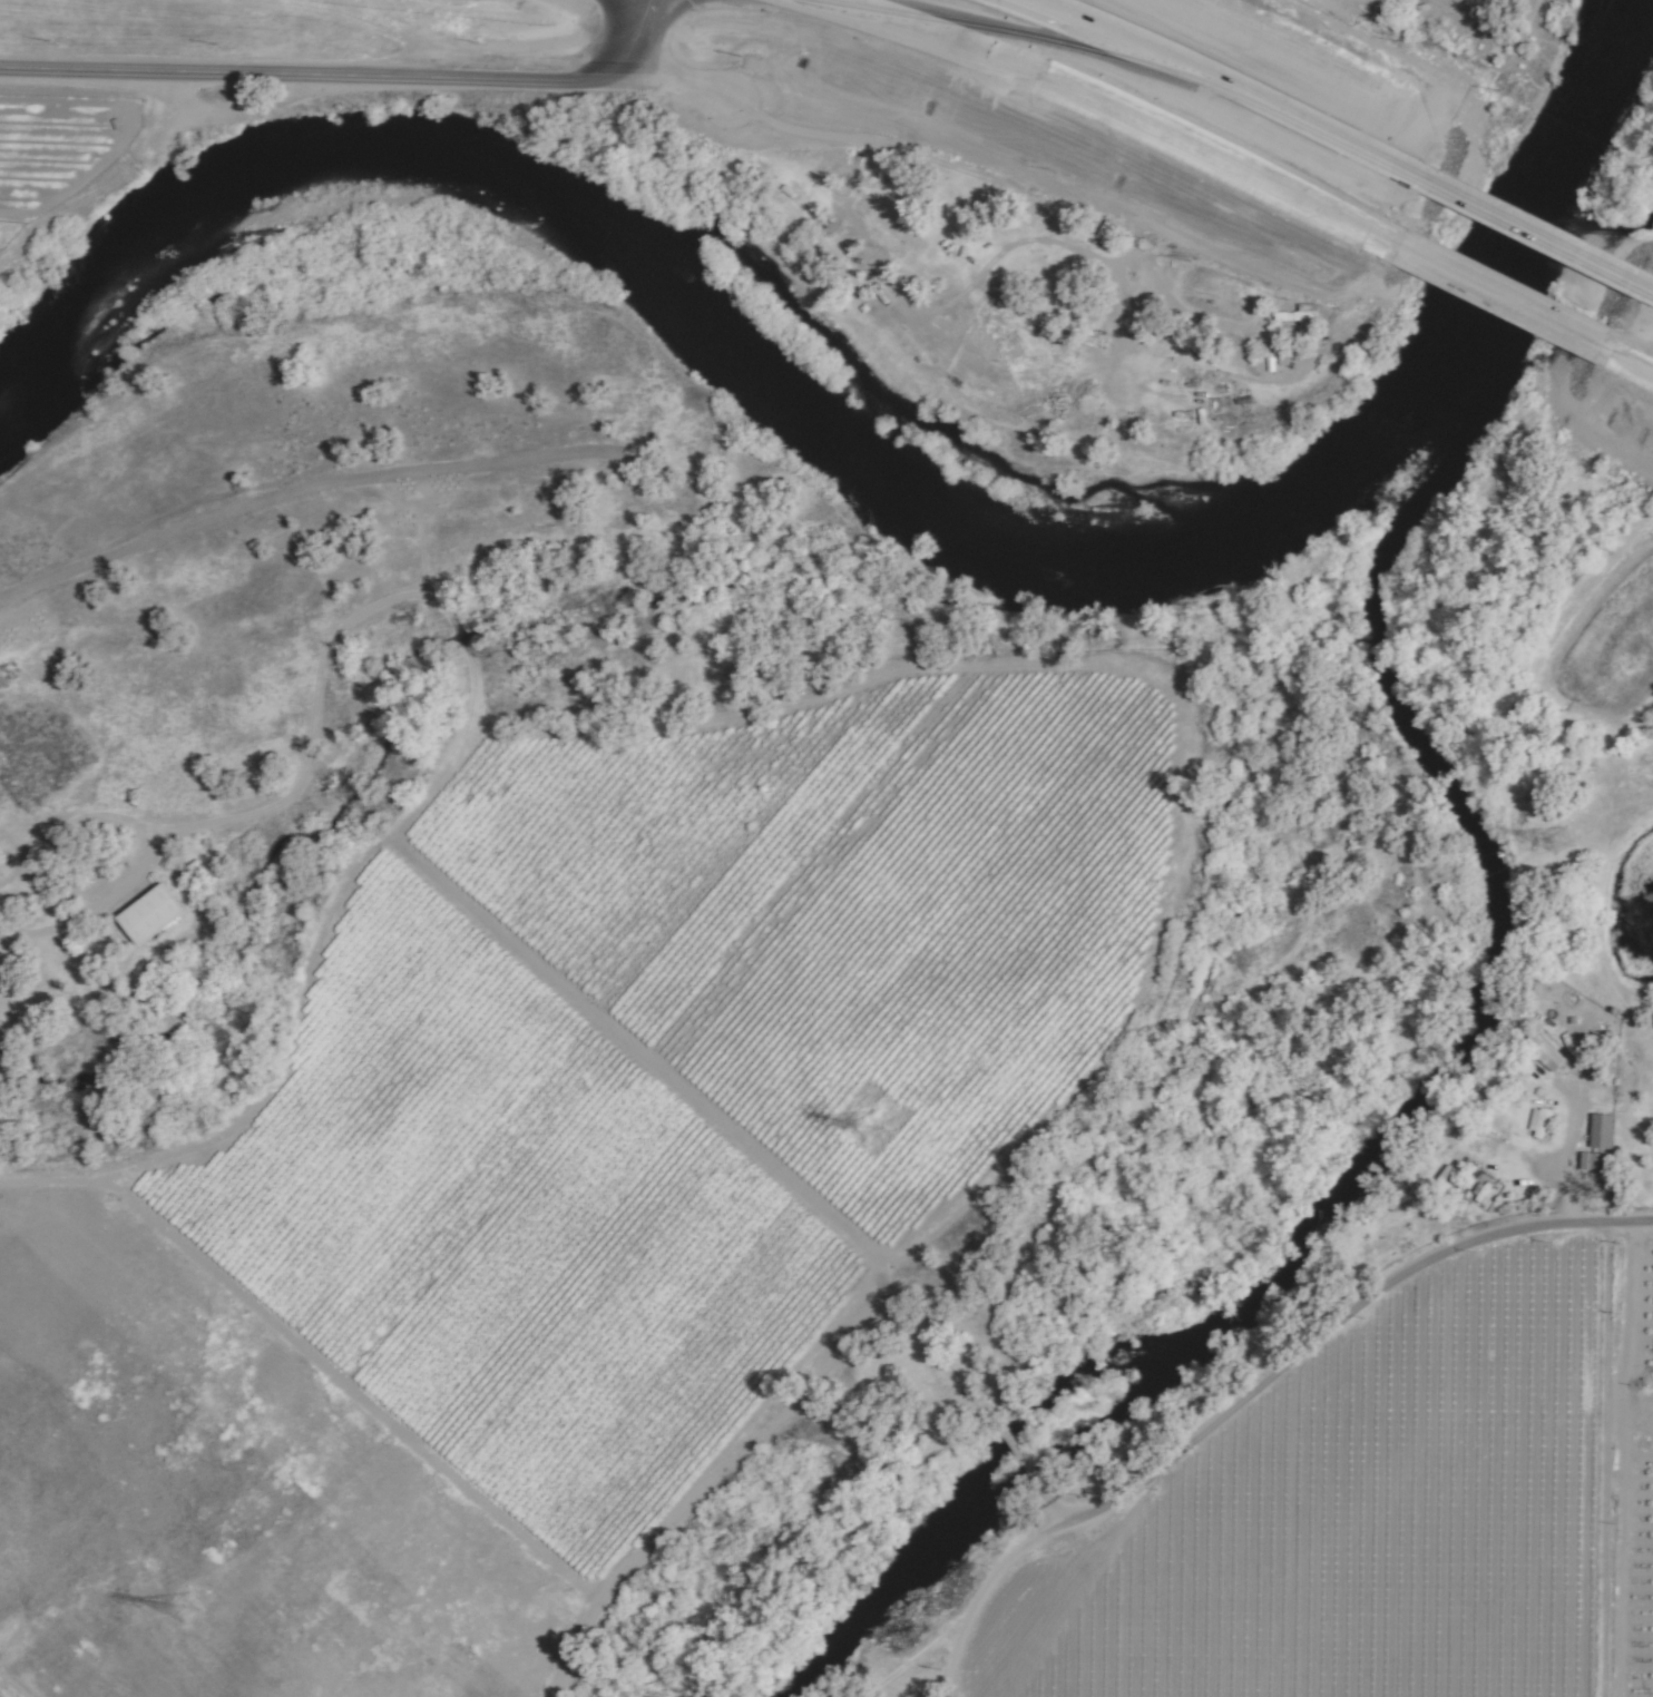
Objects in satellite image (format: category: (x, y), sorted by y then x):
road: (638, 28)
river: (1646, 57)
road: (315, 75)
road: (664, 75)
road: (1229, 87)
road: (1114, 110)
river: (1610, 134)
road: (1539, 236)
river: (1524, 284)
road: (1649, 288)
road: (1503, 296)
building: (1295, 317)
river: (717, 334)
road: (1628, 359)
road: (314, 689)
power tower: (1562, 842)
building: (145, 914)
building: (1542, 1051)
road: (272, 1099)
building: (1478, 1105)
crop: (1643, 1109)
road: (708, 1115)
building: (1537, 1121)
power tower: (869, 1126)
road: (1569, 1131)
building: (1598, 1131)
river: (1408, 1134)
building: (1592, 1161)
building: (1486, 1193)
road: (1357, 1305)
road: (1026, 1456)
road: (1606, 1458)
road: (1624, 1458)
crop: (1644, 1485)
crop: (219, 1500)
road: (1072, 1509)
road: (994, 1572)
power tower: (183, 1609)

